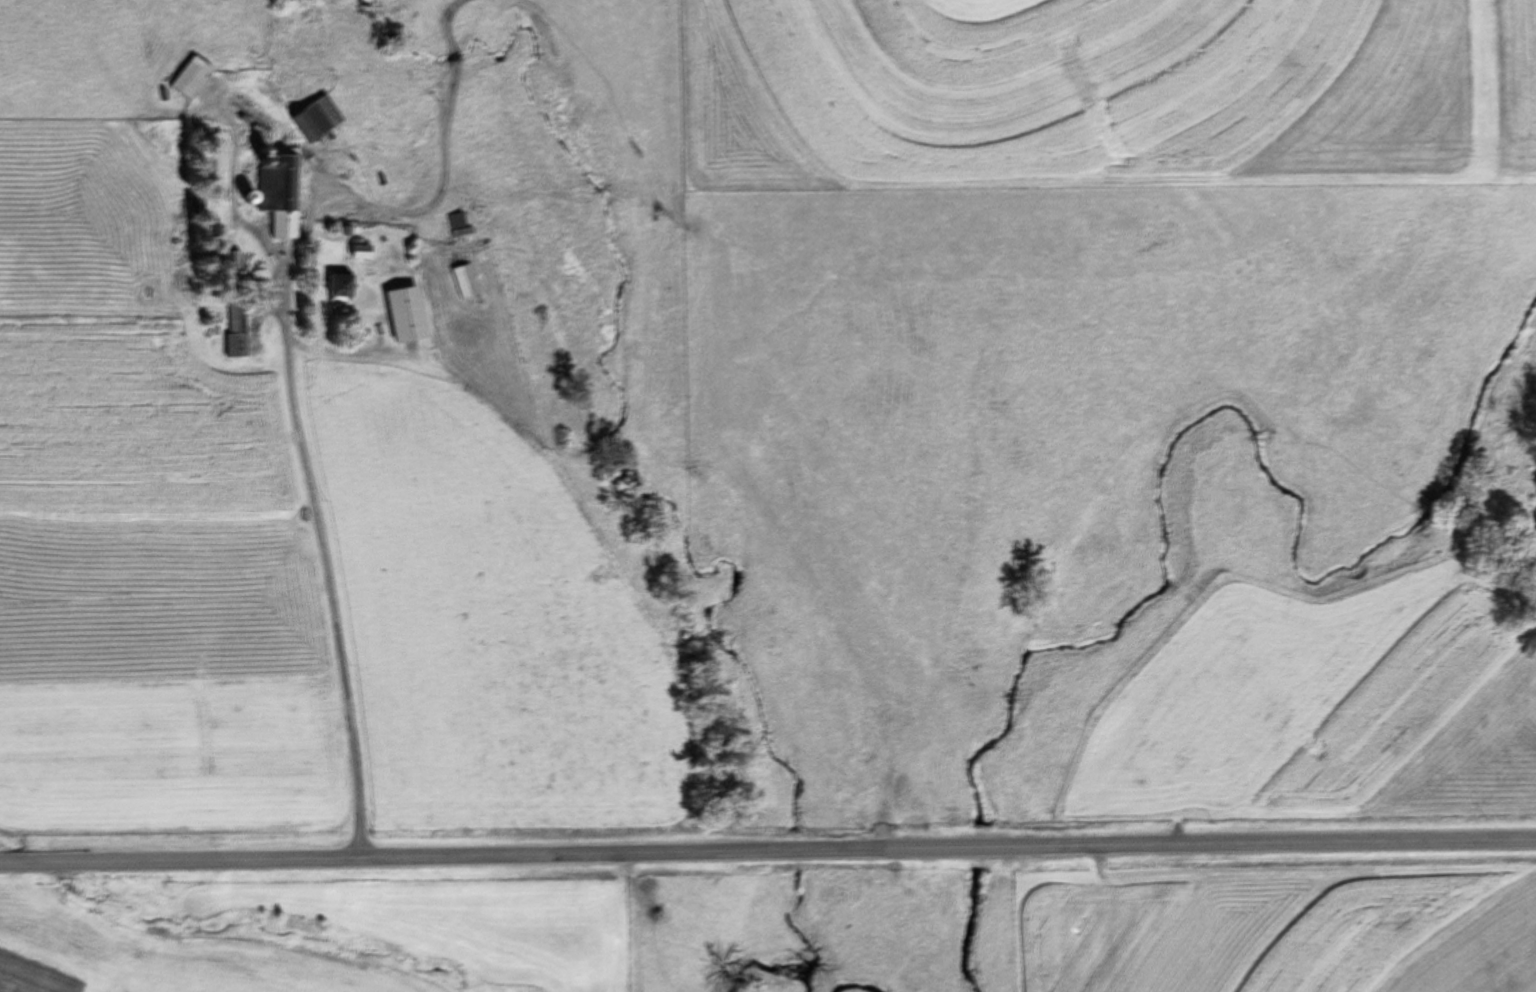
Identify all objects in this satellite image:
building: (192, 77)
building: (318, 119)
building: (281, 193)
building: (459, 226)
building: (467, 282)
building: (343, 287)
building: (405, 294)
building: (238, 324)
road: (337, 621)
road: (767, 849)
river: (977, 928)
river: (779, 972)
river: (858, 988)

